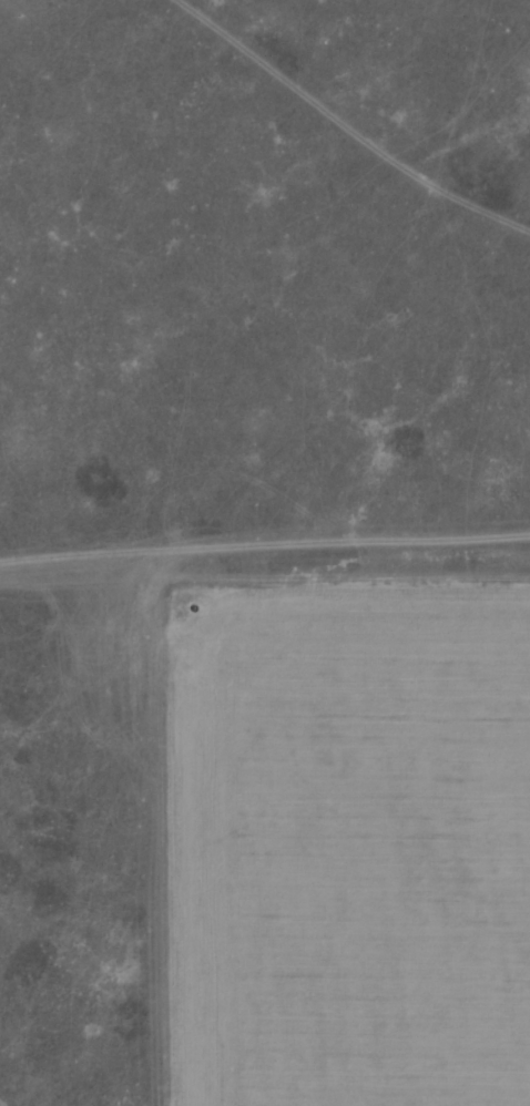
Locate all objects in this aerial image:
road: (424, 66)
road: (157, 300)
road: (140, 665)

